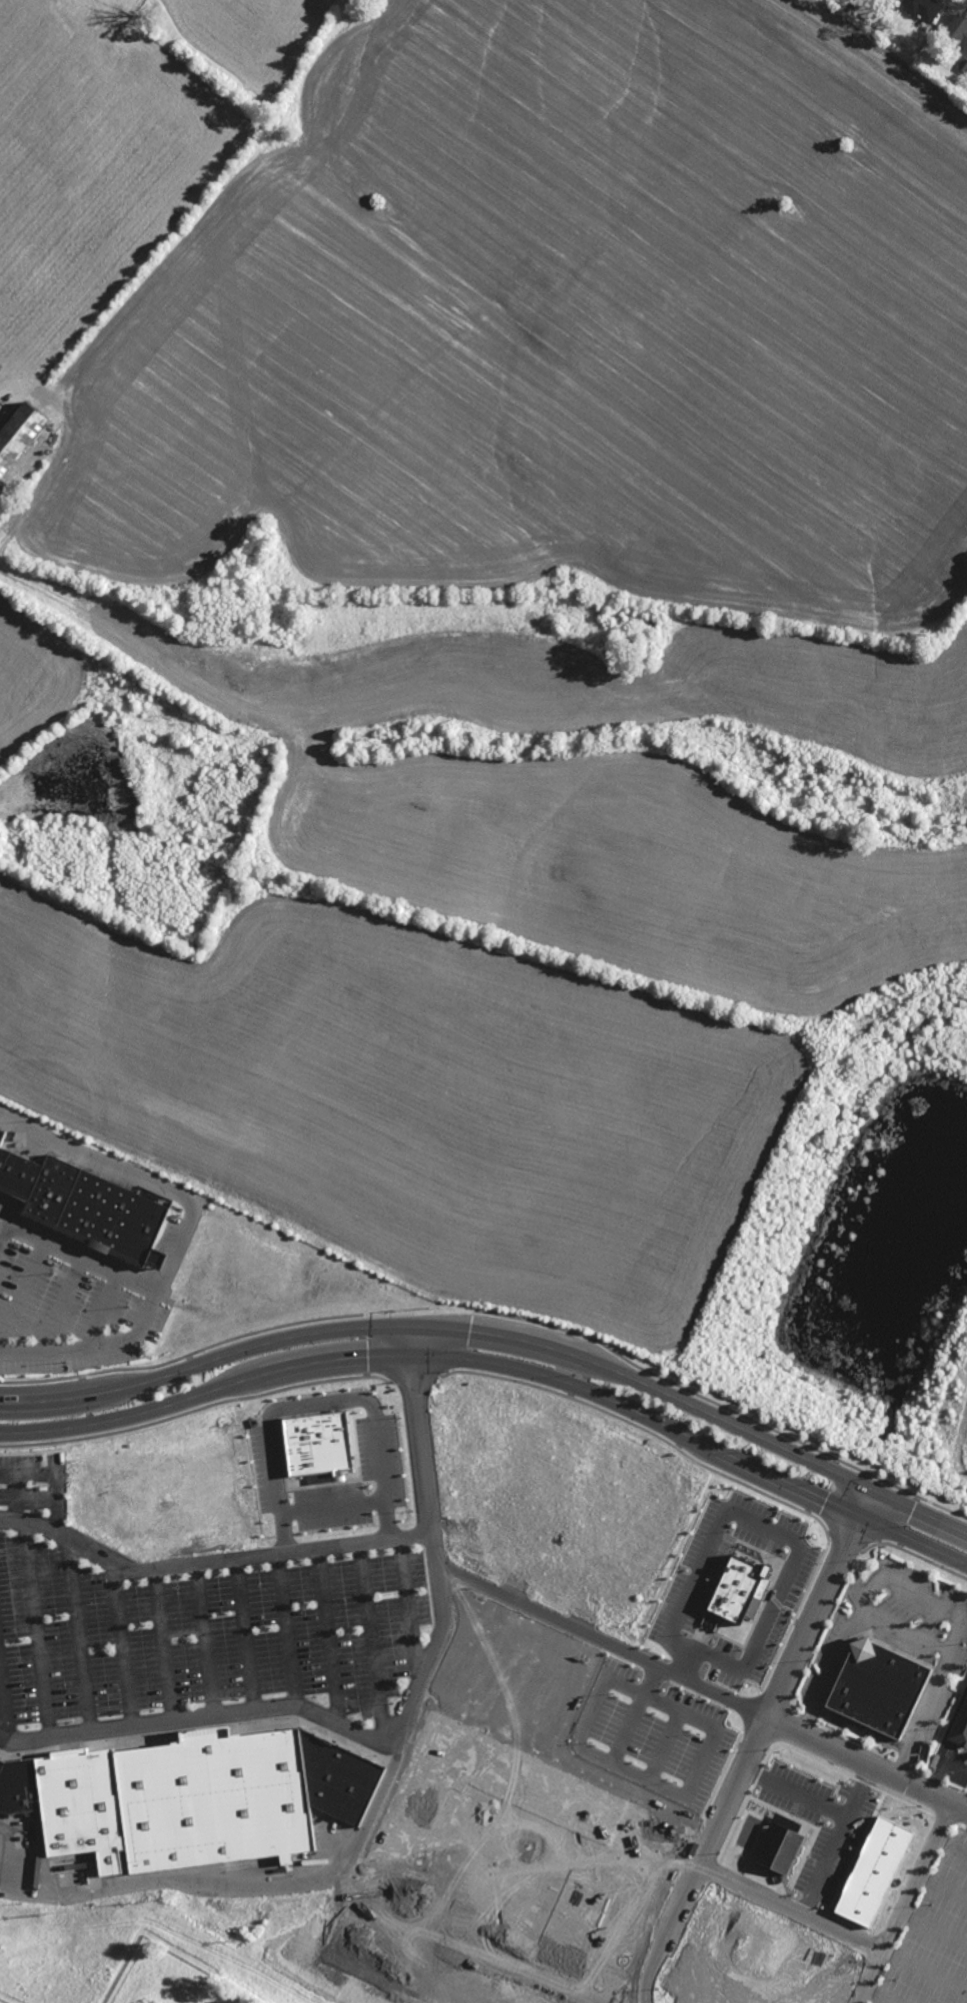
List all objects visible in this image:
building: (924, 9)
building: (111, 15)
building: (957, 30)
building: (962, 66)
building: (17, 434)
building: (1, 1131)
road: (139, 1177)
building: (81, 1206)
road: (5, 1218)
road: (5, 1232)
road: (23, 1288)
road: (152, 1300)
road: (60, 1303)
road: (104, 1308)
road: (498, 1333)
road: (499, 1363)
road: (319, 1403)
building: (317, 1443)
road: (53, 1477)
road: (15, 1496)
road: (333, 1506)
road: (766, 1528)
road: (211, 1560)
building: (740, 1590)
road: (919, 1595)
road: (410, 1610)
road: (287, 1627)
road: (38, 1628)
road: (246, 1633)
road: (79, 1634)
road: (328, 1634)
road: (906, 1634)
road: (204, 1639)
road: (372, 1642)
road: (123, 1643)
road: (163, 1644)
road: (701, 1686)
building: (877, 1688)
road: (4, 1714)
road: (205, 1716)
building: (960, 1727)
road: (753, 1743)
road: (941, 1765)
road: (393, 1773)
road: (634, 1775)
road: (796, 1791)
building: (190, 1798)
road: (838, 1838)
road: (951, 1844)
building: (781, 1848)
building: (874, 1871)
road: (941, 1888)
road: (903, 1902)
road: (789, 1906)
road: (932, 1929)
road: (924, 1970)
road: (878, 1995)

